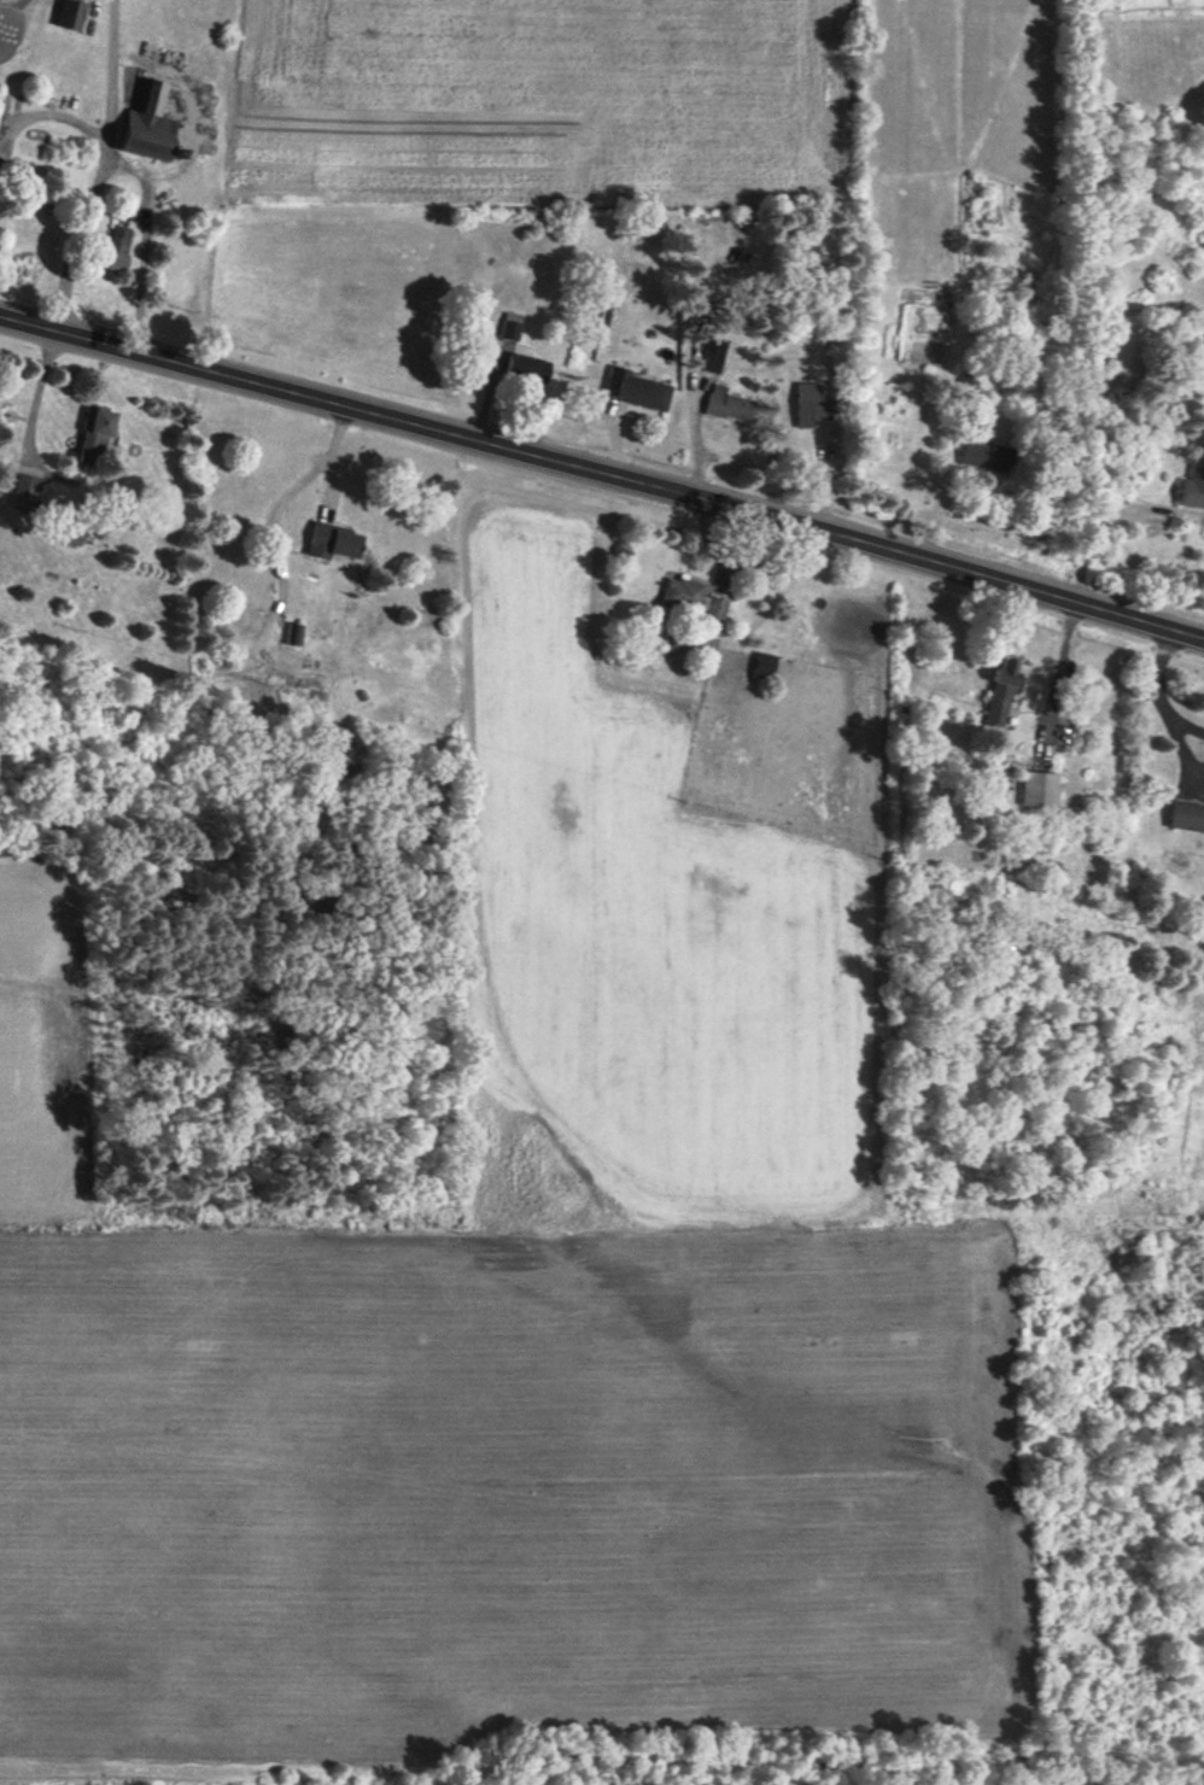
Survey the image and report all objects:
building: (68, 14)
road: (48, 112)
building: (147, 124)
road: (99, 169)
road: (140, 245)
building: (113, 247)
building: (508, 326)
building: (711, 353)
building: (525, 368)
building: (968, 380)
building: (633, 388)
road: (35, 399)
building: (726, 404)
building: (810, 404)
building: (93, 435)
building: (984, 456)
road: (603, 475)
building: (1192, 488)
building: (24, 490)
road: (1091, 534)
building: (332, 542)
building: (690, 597)
building: (691, 645)
road: (1059, 663)
building: (762, 666)
road: (1161, 693)
building: (998, 695)
building: (1036, 789)
building: (1185, 815)
crop: (21, 1060)
crop: (486, 1479)

